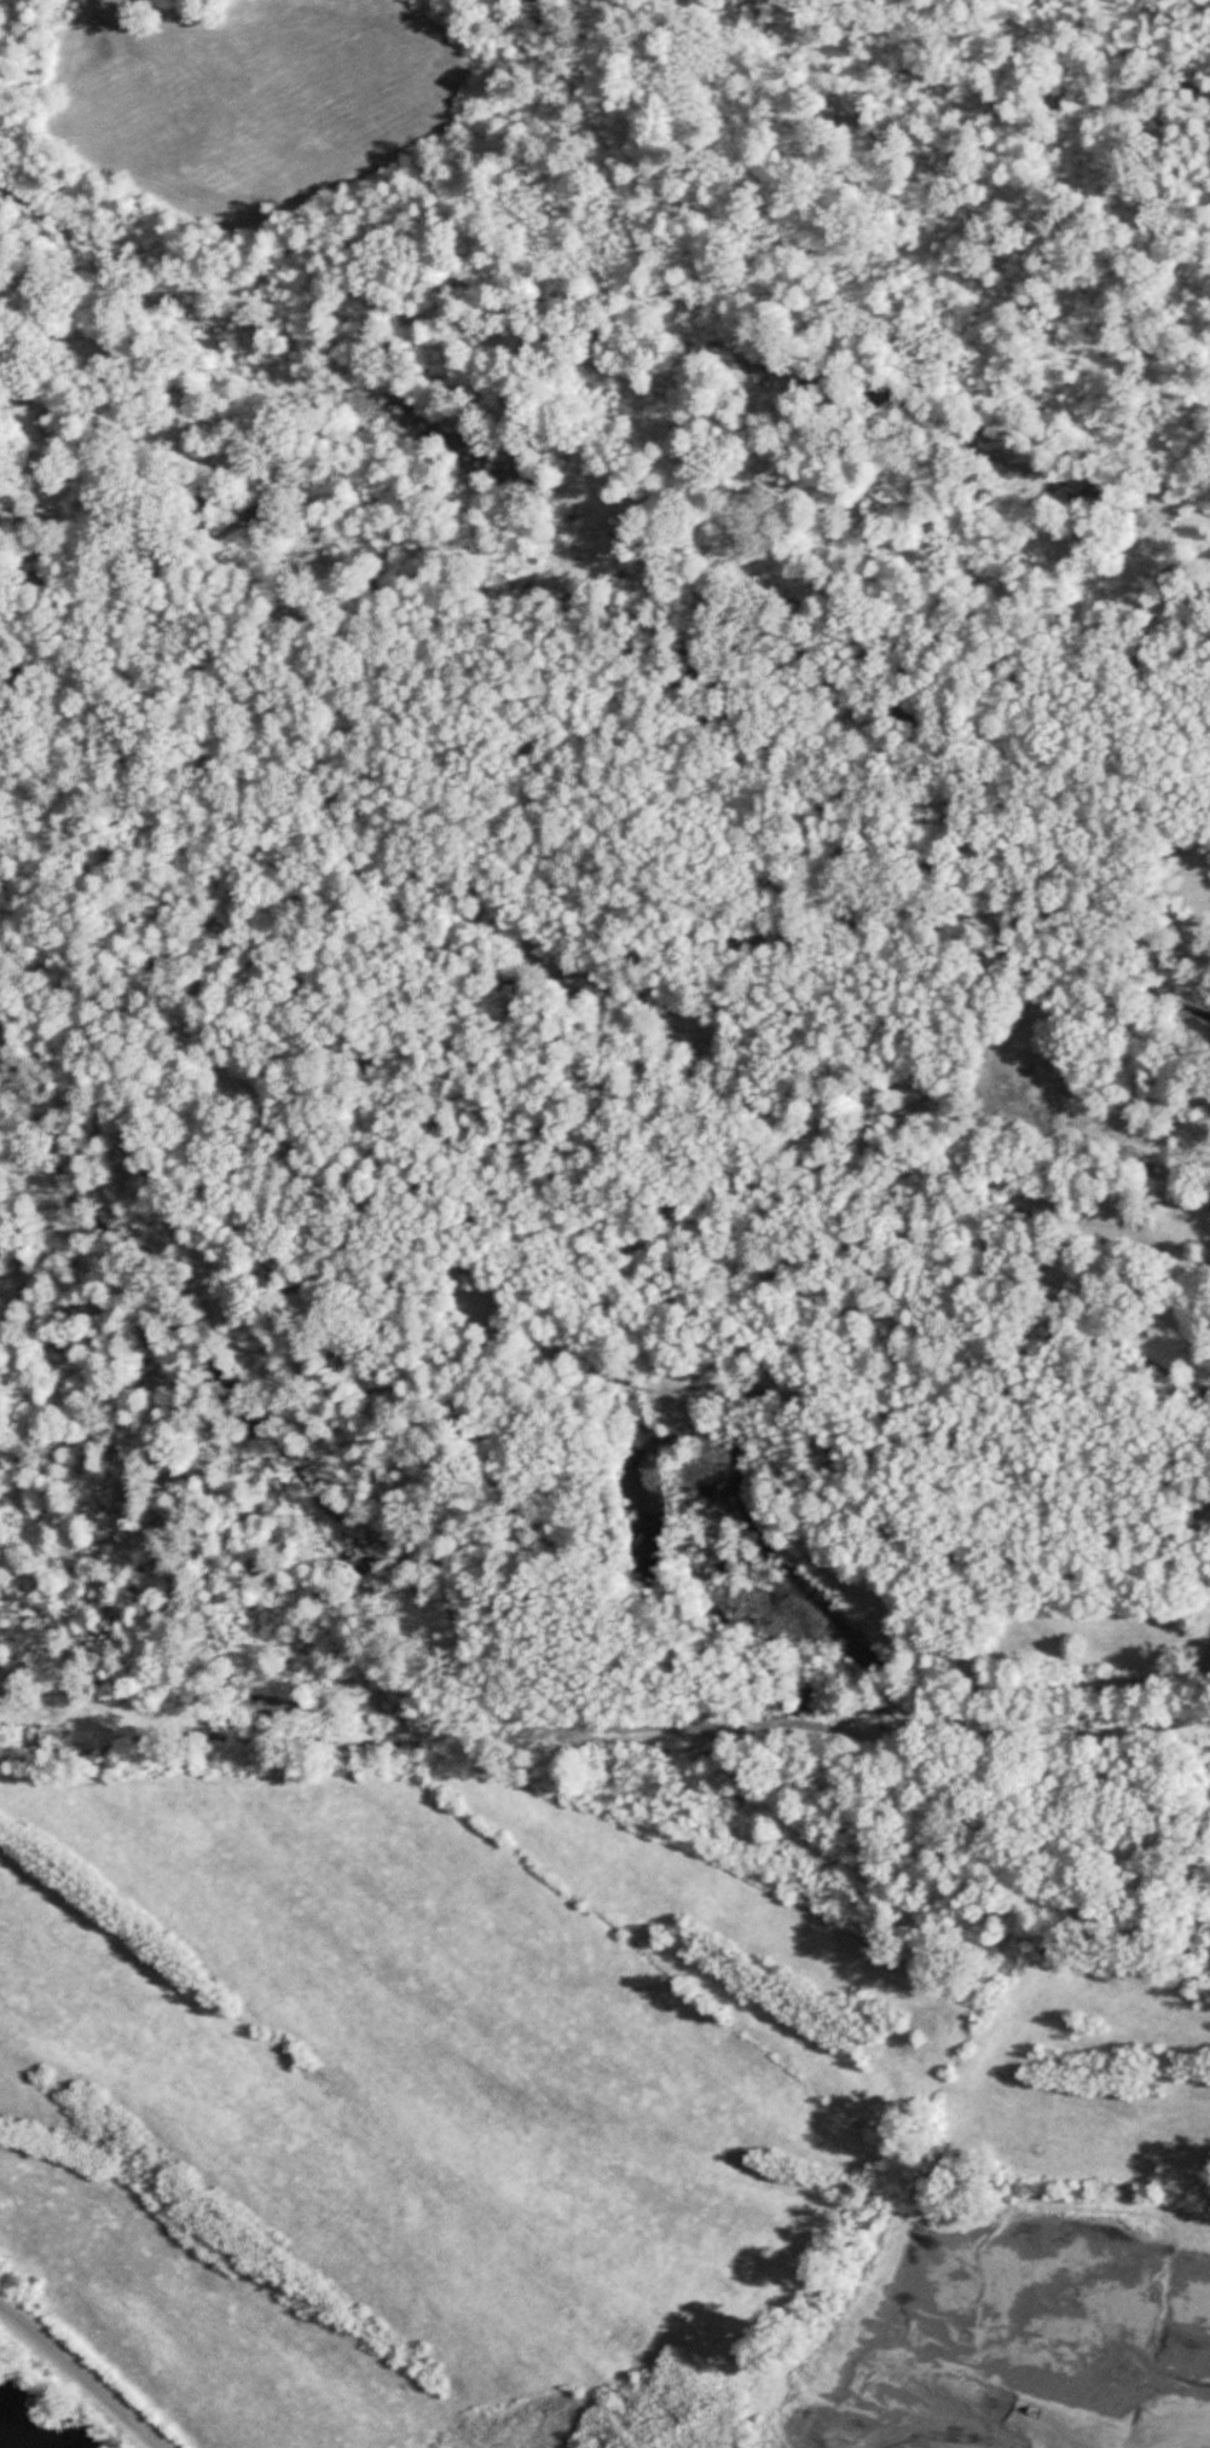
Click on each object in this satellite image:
road: (53, 451)
road: (80, 2375)

